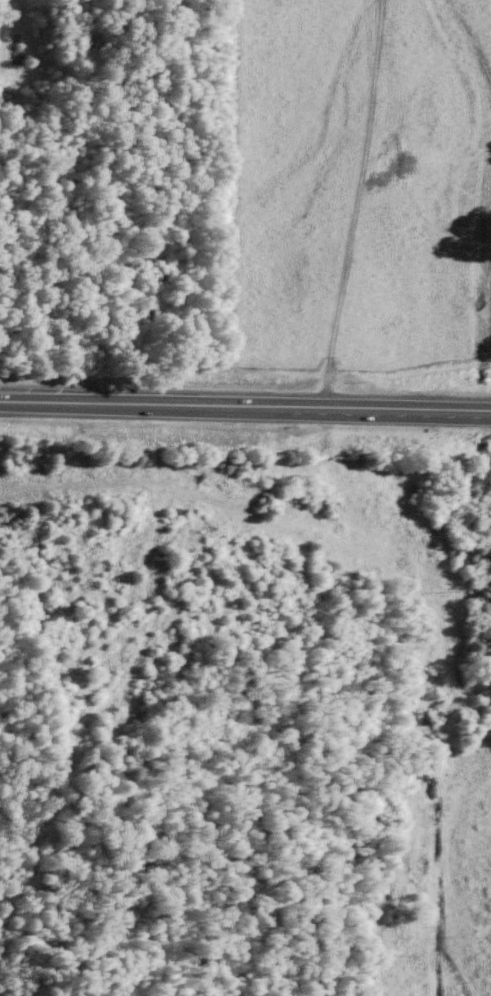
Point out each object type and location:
road: (245, 402)

